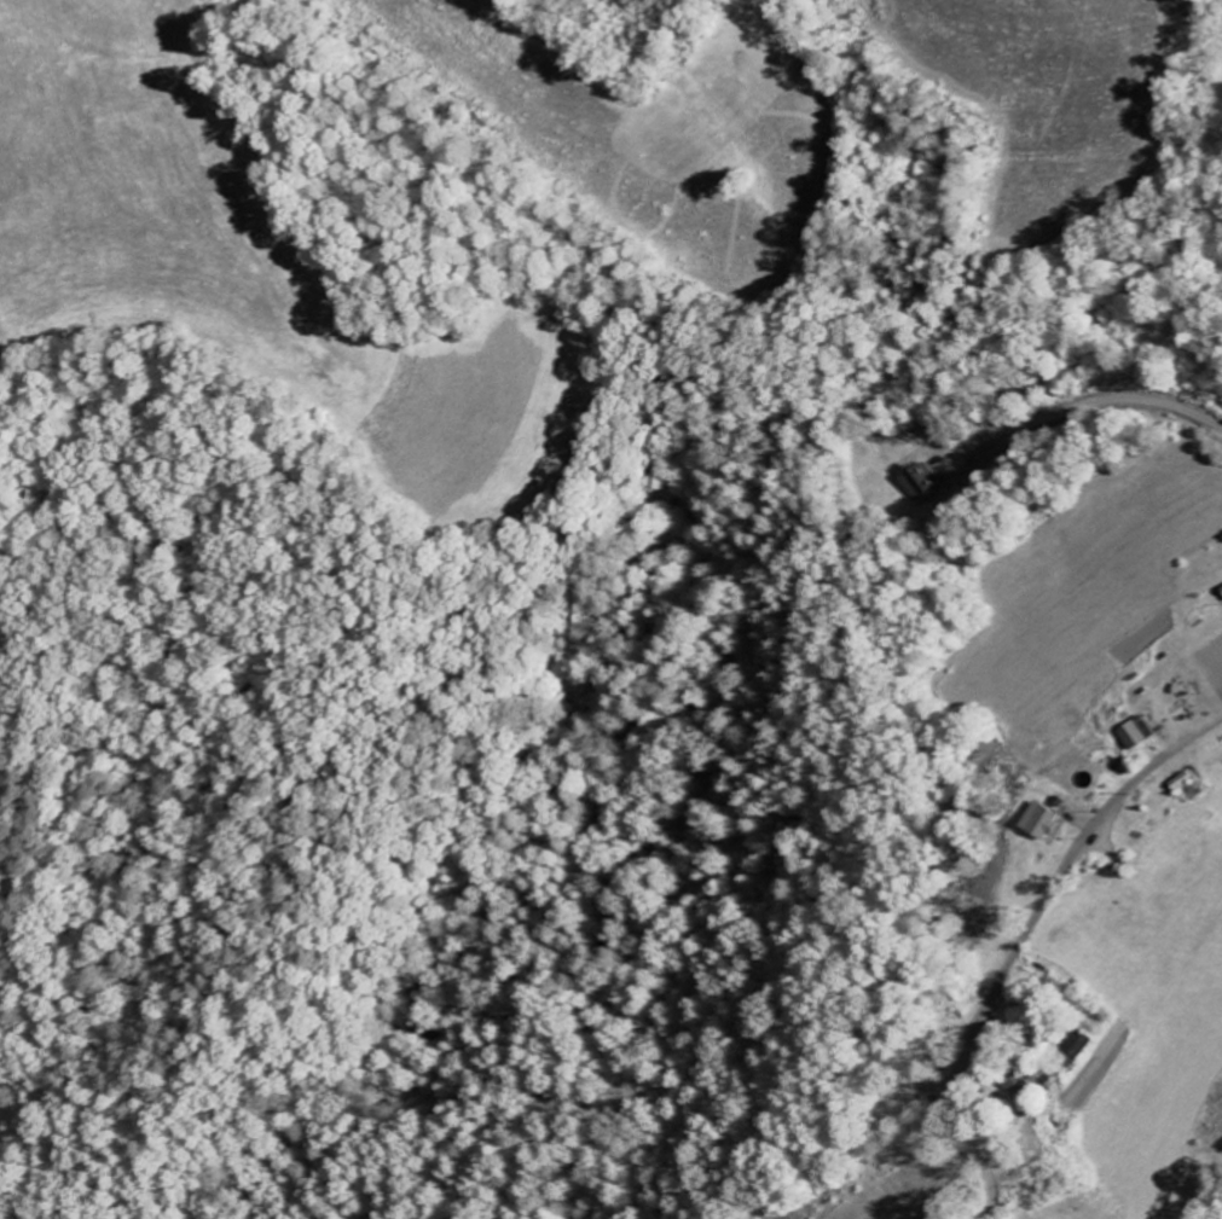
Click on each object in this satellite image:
building: (914, 482)
building: (1134, 735)
building: (1037, 823)
road: (1059, 882)

